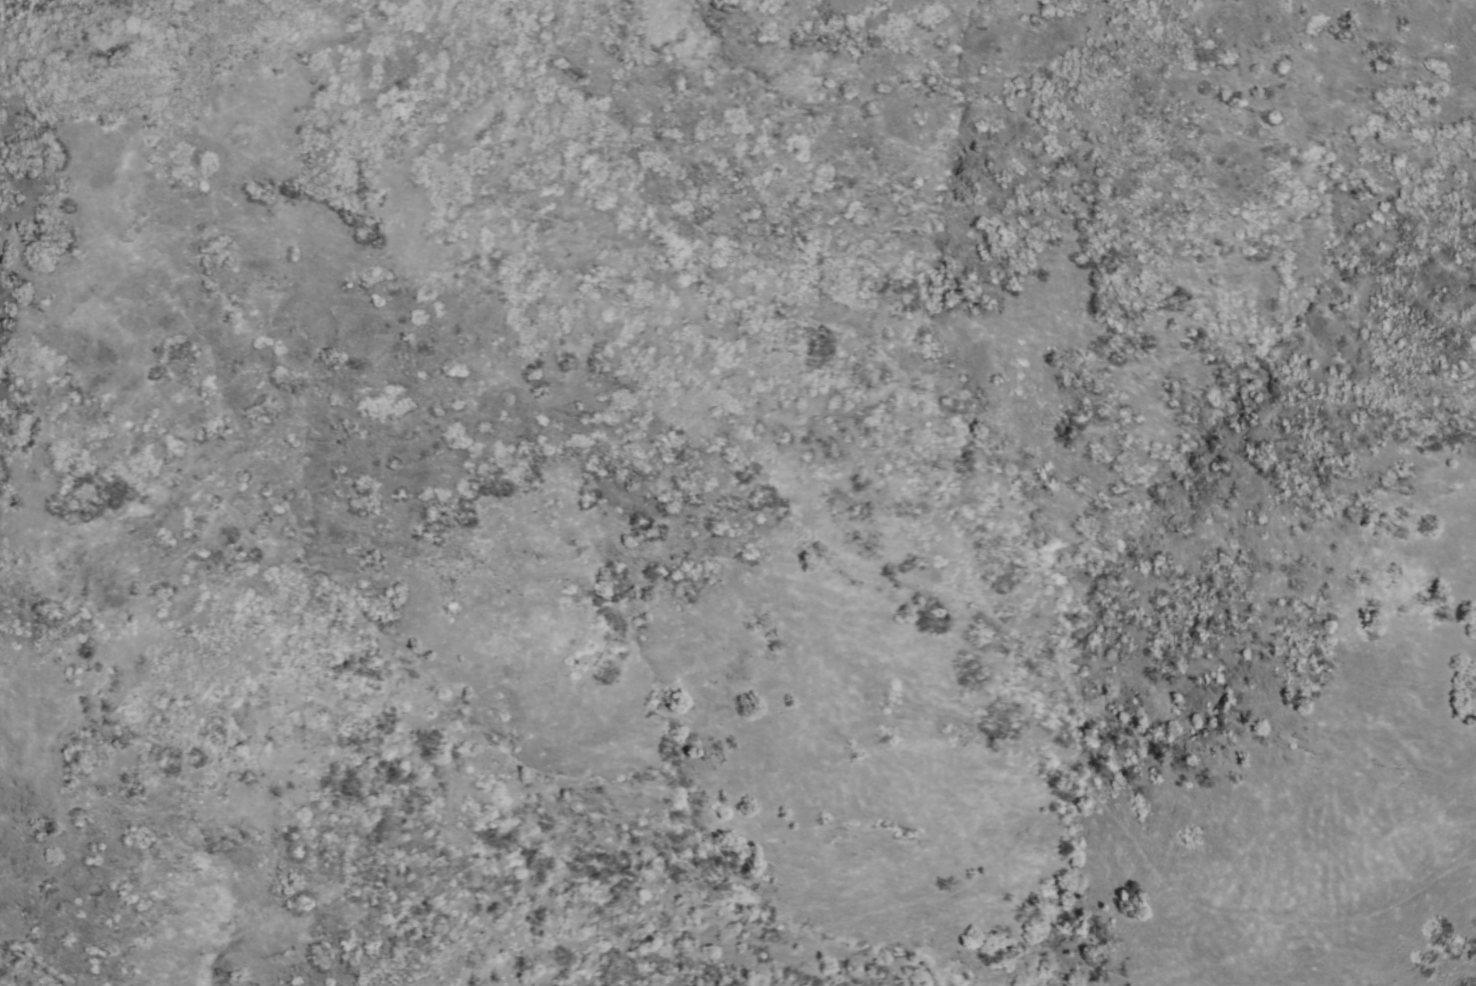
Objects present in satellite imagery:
road: (1116, 871)

